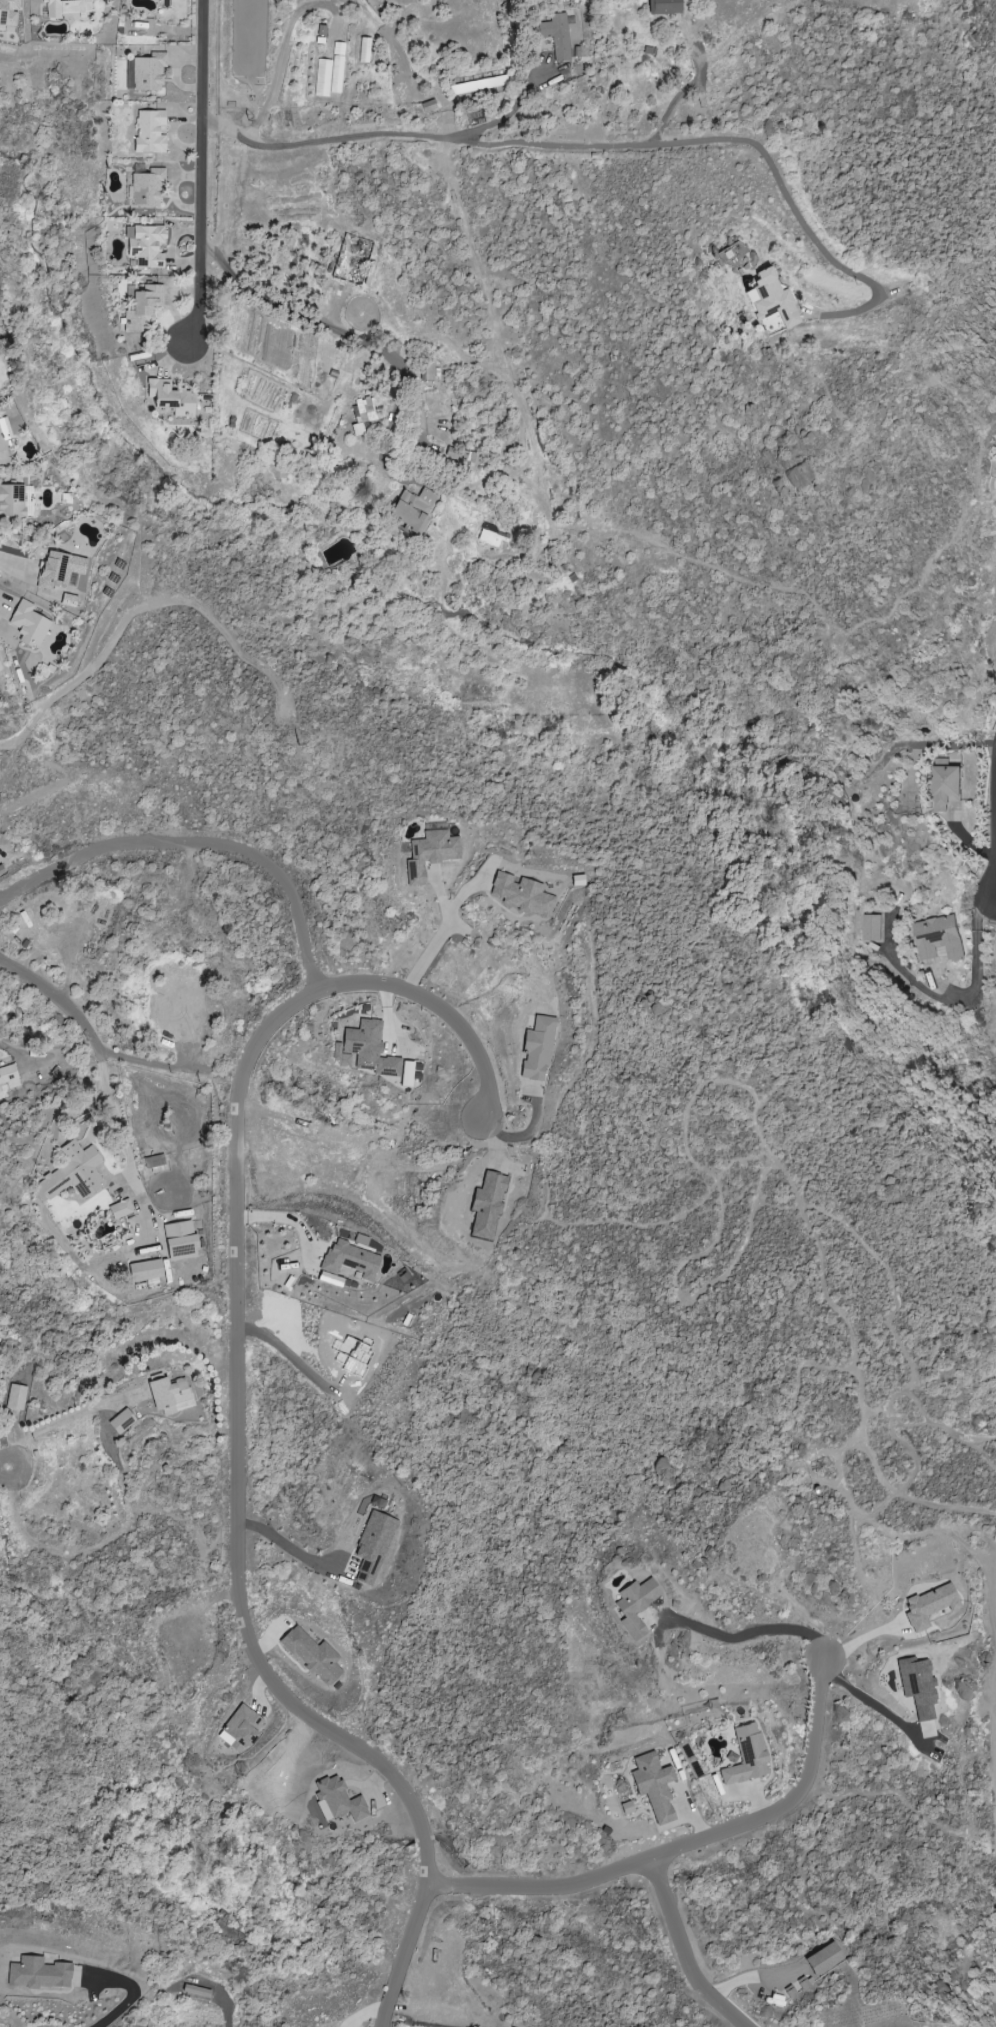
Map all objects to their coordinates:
building: (66, 7)
building: (664, 7)
building: (8, 12)
building: (574, 33)
building: (556, 35)
road: (281, 37)
building: (363, 50)
building: (148, 72)
building: (322, 78)
building: (478, 85)
road: (680, 92)
road: (506, 114)
building: (149, 132)
road: (602, 145)
road: (198, 171)
building: (146, 188)
building: (144, 245)
building: (734, 255)
building: (772, 301)
building: (141, 307)
road: (336, 331)
building: (170, 398)
building: (363, 415)
building: (3, 434)
building: (11, 501)
building: (412, 510)
building: (492, 536)
road: (15, 563)
building: (58, 569)
building: (28, 624)
building: (42, 671)
building: (949, 784)
road: (200, 839)
building: (430, 851)
building: (577, 880)
building: (521, 894)
building: (874, 927)
building: (940, 938)
road: (426, 946)
road: (979, 958)
road: (59, 998)
road: (5, 1045)
building: (364, 1049)
building: (537, 1049)
road: (150, 1062)
building: (8, 1078)
road: (115, 1110)
building: (154, 1163)
building: (73, 1173)
building: (486, 1205)
building: (120, 1209)
road: (290, 1218)
building: (180, 1241)
building: (350, 1260)
building: (145, 1270)
building: (169, 1395)
building: (15, 1397)
road: (236, 1404)
building: (121, 1421)
building: (373, 1546)
road: (289, 1547)
building: (929, 1606)
building: (636, 1607)
road: (755, 1636)
building: (312, 1656)
road: (866, 1699)
building: (241, 1728)
building: (746, 1756)
building: (653, 1786)
building: (337, 1800)
road: (683, 1845)
road: (682, 1951)
building: (37, 1973)
building: (196, 1991)
road: (142, 2002)

